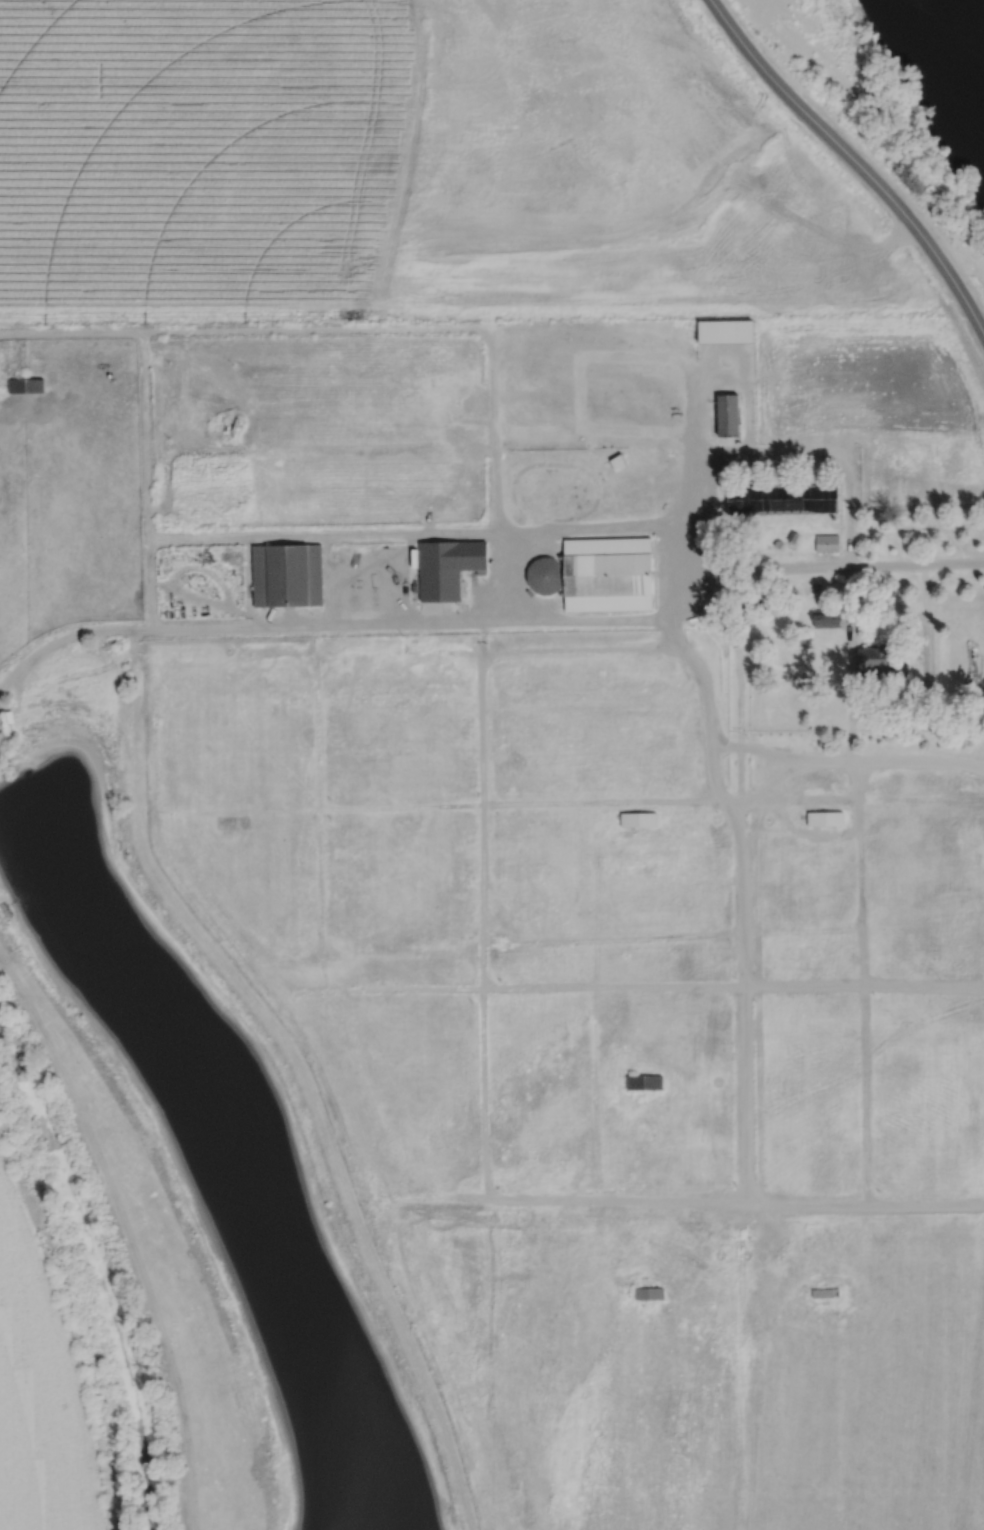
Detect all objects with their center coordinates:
river: (981, 2)
road: (855, 161)
crop: (406, 168)
road: (386, 327)
building: (724, 329)
building: (257, 369)
building: (26, 385)
building: (727, 413)
road: (881, 435)
road: (935, 447)
road: (75, 449)
building: (617, 461)
road: (147, 479)
building: (482, 490)
road: (848, 496)
building: (782, 498)
building: (261, 505)
road: (615, 526)
road: (321, 534)
building: (717, 536)
building: (778, 542)
building: (826, 542)
building: (740, 556)
building: (448, 567)
building: (608, 574)
building: (287, 575)
building: (545, 575)
road: (328, 579)
road: (249, 581)
building: (747, 610)
road: (889, 617)
building: (826, 618)
road: (504, 619)
building: (828, 630)
road: (671, 632)
road: (156, 654)
road: (927, 660)
building: (883, 661)
road: (895, 711)
road: (155, 730)
road: (765, 750)
road: (880, 758)
road: (463, 803)
road: (318, 807)
building: (824, 816)
building: (636, 817)
road: (810, 832)
road: (743, 1059)
road: (299, 1070)
building: (643, 1081)
road: (428, 1194)
road: (613, 1196)
road: (925, 1203)
road: (126, 1232)
road: (387, 1246)
building: (828, 1290)
building: (647, 1293)
crop: (40, 1391)
road: (732, 1489)

